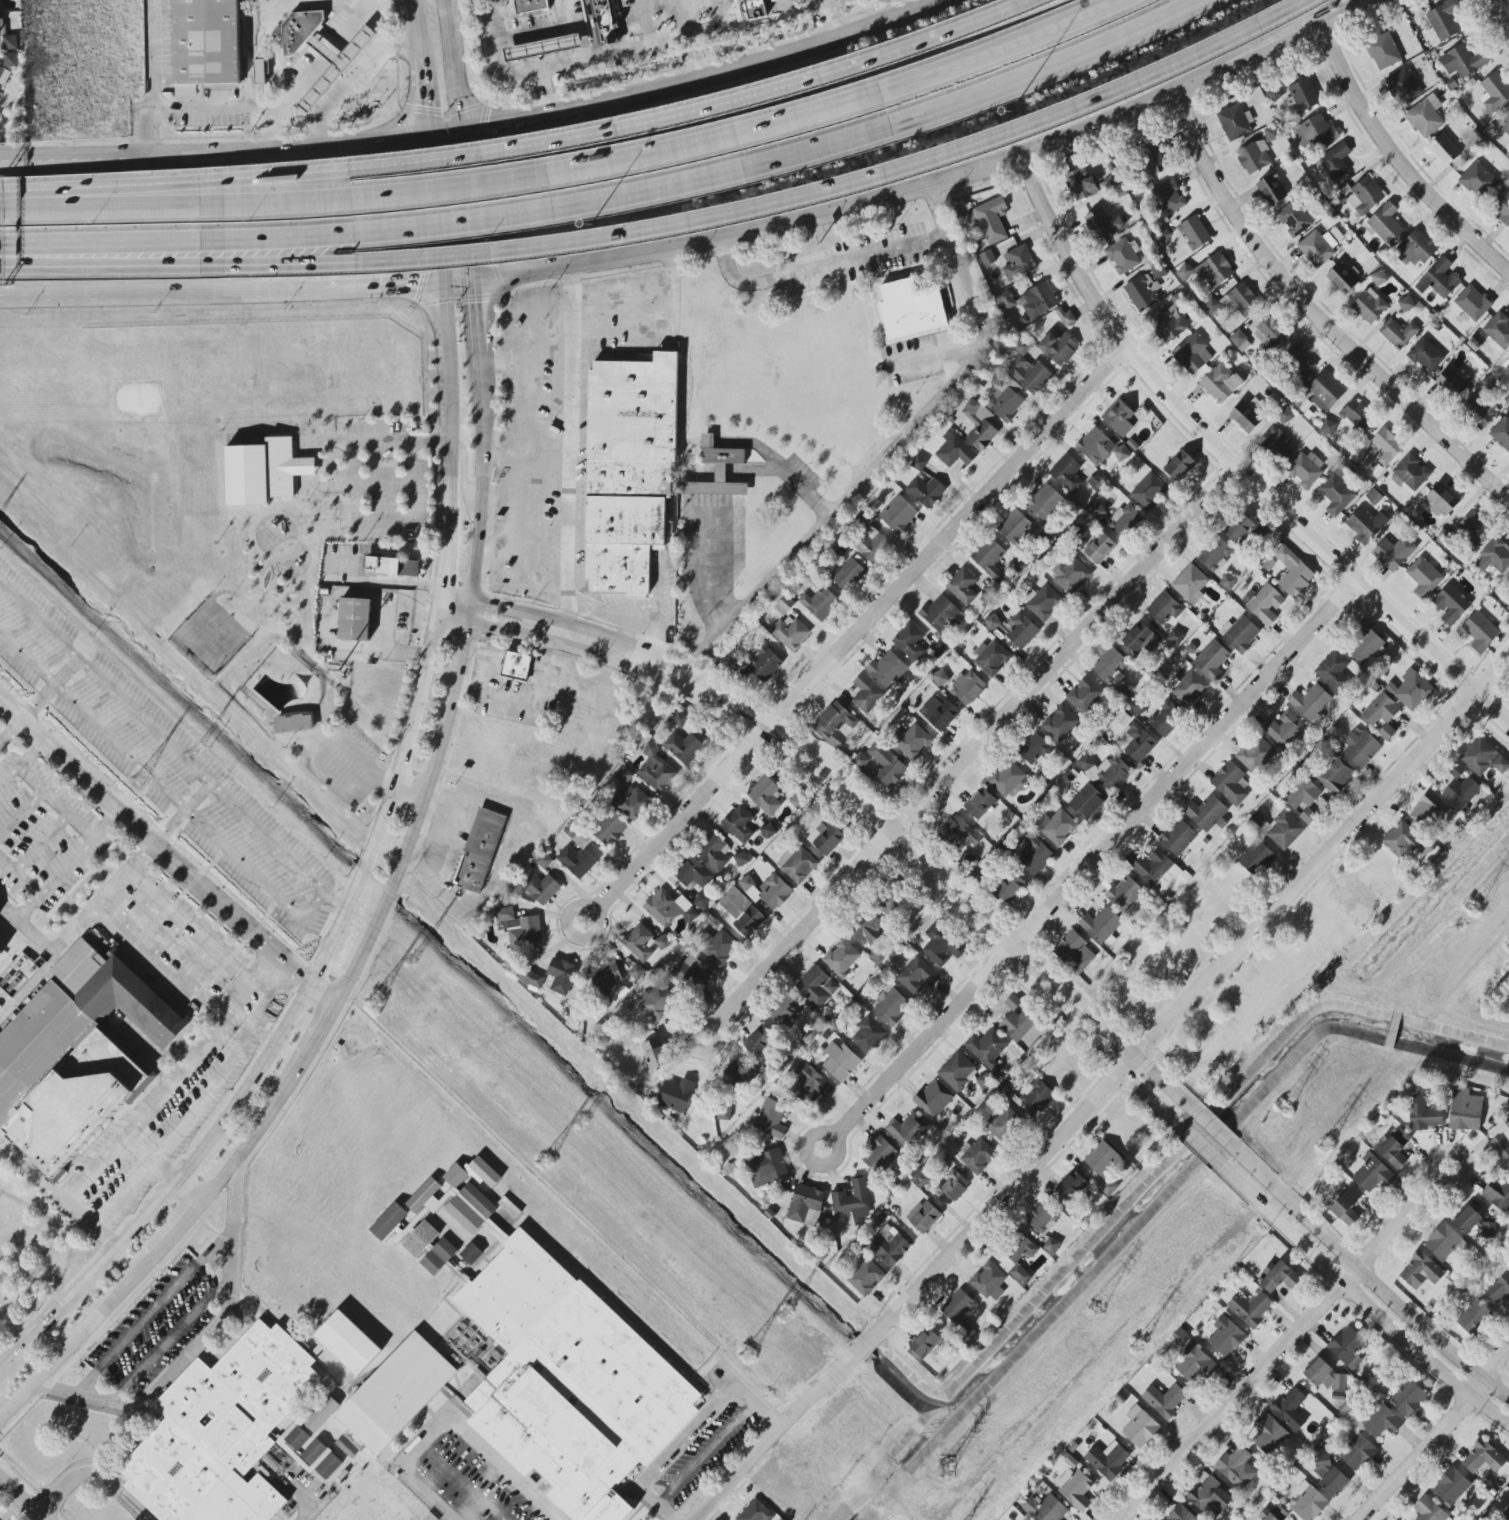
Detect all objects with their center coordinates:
parking lot: (780, 0)
road: (953, 0)
building: (533, 6)
building: (755, 8)
road: (1009, 9)
road: (1502, 11)
road: (802, 13)
road: (685, 17)
building: (1443, 20)
building: (609, 21)
road: (836, 21)
road: (591, 26)
parking lot: (682, 27)
road: (720, 27)
road: (543, 28)
road: (753, 29)
road: (416, 34)
building: (6, 37)
road: (651, 39)
road: (274, 42)
building: (206, 45)
road: (1250, 45)
road: (1008, 47)
building: (539, 51)
building: (1383, 51)
building: (325, 53)
road: (696, 59)
building: (10, 60)
building: (1462, 61)
road: (540, 63)
road: (773, 63)
road: (1176, 66)
road: (453, 69)
road: (1056, 69)
building: (263, 75)
road: (154, 78)
building: (1404, 86)
road: (360, 89)
road: (544, 91)
building: (1494, 92)
building: (1303, 96)
road: (422, 106)
road: (233, 107)
traffic signals: (423, 107)
road: (554, 117)
building: (1425, 117)
building: (1235, 122)
building: (1505, 125)
road: (494, 131)
building: (1314, 132)
traffic signals: (484, 134)
road: (599, 137)
road: (445, 141)
building: (1444, 150)
road: (213, 155)
traffic signals: (467, 157)
building: (1253, 157)
road: (1407, 159)
building: (1152, 160)
building: (1335, 161)
road: (544, 175)
road: (945, 179)
building: (1477, 179)
building: (1080, 184)
building: (1271, 190)
building: (1362, 195)
road: (133, 197)
building: (1168, 197)
road: (134, 205)
building: (1501, 206)
road: (34, 207)
road: (502, 208)
road: (472, 209)
road: (550, 209)
road: (434, 213)
road: (404, 217)
building: (990, 219)
building: (1293, 219)
building: (1102, 223)
building: (1385, 223)
building: (1194, 233)
road: (624, 234)
building: (1162, 236)
road: (100, 244)
building: (1319, 246)
building: (1415, 249)
building: (1122, 256)
building: (987, 258)
traffic signals: (441, 261)
building: (1018, 263)
road: (959, 266)
road: (820, 267)
road: (99, 269)
building: (1209, 271)
building: (1378, 278)
building: (1439, 279)
road: (461, 281)
road: (404, 283)
traffic signals: (414, 283)
road: (338, 285)
road: (155, 289)
building: (1142, 292)
building: (1029, 301)
building: (1234, 301)
traffic signals: (480, 303)
building: (1406, 303)
building: (1472, 303)
building: (1369, 306)
building: (910, 309)
road: (1324, 312)
road: (481, 325)
building: (1168, 325)
building: (1498, 330)
building: (1270, 334)
building: (1399, 334)
building: (1238, 338)
building: (1058, 348)
building: (1192, 354)
building: (1508, 355)
building: (1425, 356)
road: (948, 359)
building: (1298, 361)
building: (1507, 367)
building: (1028, 370)
building: (1220, 383)
building: (1451, 383)
building: (1325, 392)
building: (1005, 400)
road: (451, 407)
road: (577, 408)
building: (1478, 411)
building: (1247, 414)
building: (1357, 415)
building: (1118, 418)
building: (979, 425)
building: (1328, 428)
building: (1501, 433)
road: (374, 442)
building: (1275, 444)
building: (1386, 446)
building: (1100, 447)
building: (953, 451)
building: (918, 463)
building: (1179, 465)
road: (465, 467)
road: (1235, 468)
building: (1304, 468)
building: (628, 469)
building: (717, 470)
building: (263, 471)
road: (723, 472)
building: (1411, 472)
building: (1066, 473)
road: (795, 481)
road: (501, 486)
building: (925, 491)
building: (1148, 491)
building: (1336, 495)
road: (381, 498)
building: (1441, 500)
building: (1045, 502)
building: (1097, 510)
building: (898, 515)
road: (833, 518)
building: (1124, 521)
building: (1365, 524)
building: (1473, 526)
building: (1014, 527)
building: (1240, 529)
building: (872, 546)
building: (1099, 548)
road: (727, 550)
building: (1214, 553)
building: (1393, 553)
road: (691, 556)
building: (1494, 556)
building: (989, 559)
road: (440, 561)
building: (393, 567)
building: (1293, 572)
building: (849, 575)
building: (1069, 575)
building: (1424, 577)
building: (1227, 581)
building: (1190, 583)
building: (962, 586)
road: (402, 587)
road: (453, 595)
road: (435, 601)
building: (1044, 603)
building: (820, 604)
building: (1450, 604)
building: (1265, 605)
building: (784, 606)
building: (1164, 608)
building: (939, 613)
building: (354, 619)
building: (992, 622)
building: (1020, 631)
building: (1480, 632)
building: (790, 634)
building: (1239, 634)
road: (854, 636)
building: (1175, 637)
building: (1140, 639)
building: (909, 641)
building: (1366, 644)
road: (515, 649)
building: (990, 658)
building: (1211, 660)
building: (764, 663)
building: (515, 666)
building: (1110, 666)
building: (887, 669)
road: (539, 672)
building: (1333, 672)
road: (483, 673)
building: (940, 678)
building: (967, 688)
building: (1188, 688)
road: (51, 690)
building: (1410, 690)
building: (866, 693)
building: (1085, 694)
road: (447, 697)
road: (506, 699)
building: (1311, 703)
building: (1136, 708)
road: (10, 709)
building: (1382, 714)
building: (942, 715)
building: (1166, 718)
building: (679, 720)
building: (294, 722)
building: (1060, 723)
building: (835, 724)
road: (90, 725)
building: (1283, 729)
road: (335, 742)
building: (913, 742)
building: (1138, 742)
road: (173, 748)
building: (683, 748)
building: (1034, 748)
building: (1360, 748)
road: (968, 751)
building: (1255, 754)
power tower: (198, 755)
building: (1483, 758)
building: (861, 760)
road: (21, 762)
building: (887, 765)
building: (655, 770)
building: (1107, 771)
building: (1457, 772)
power tower: (139, 775)
building: (623, 776)
building: (1334, 776)
building: (1007, 779)
building: (1231, 784)
building: (1461, 793)
building: (765, 795)
road: (196, 799)
road: (56, 801)
road: (863, 802)
building: (1086, 802)
building: (1305, 802)
building: (633, 803)
building: (979, 803)
road: (840, 810)
building: (1428, 810)
building: (1206, 813)
road: (22, 814)
building: (738, 824)
building: (1057, 827)
road: (427, 828)
building: (610, 829)
building: (1283, 830)
building: (768, 831)
building: (958, 832)
road: (440, 833)
building: (1177, 837)
building: (828, 838)
building: (1401, 840)
road: (42, 844)
building: (479, 851)
road: (166, 852)
building: (714, 852)
building: (1033, 855)
building: (1256, 858)
building: (579, 859)
road: (69, 864)
building: (797, 864)
road: (1090, 865)
road: (235, 867)
building: (1158, 871)
building: (693, 873)
road: (19, 880)
building: (746, 883)
building: (1009, 887)
building: (540, 888)
building: (774, 891)
building: (1124, 894)
building: (1346, 894)
building: (701, 900)
building: (888, 902)
building: (1372, 903)
power tower: (1474, 908)
building: (666, 909)
building: (742, 912)
road: (136, 914)
road: (79, 925)
building: (1101, 925)
building: (519, 928)
building: (867, 928)
road: (189, 929)
road: (164, 940)
power tower: (1508, 941)
building: (662, 942)
building: (639, 943)
building: (941, 945)
building: (719, 948)
building: (0, 952)
building: (1074, 953)
building: (840, 957)
power tower: (419, 958)
road: (268, 962)
road: (152, 963)
building: (636, 972)
building: (688, 973)
building: (916, 975)
building: (561, 976)
building: (605, 977)
road: (268, 978)
building: (530, 978)
road: (255, 979)
building: (816, 987)
power tower: (377, 995)
road: (203, 997)
building: (656, 1001)
building: (1012, 1002)
building: (891, 1007)
building: (785, 1010)
building: (1017, 1025)
road: (282, 1026)
building: (868, 1035)
road: (315, 1037)
building: (759, 1041)
building: (987, 1048)
building: (654, 1054)
building: (78, 1055)
building: (841, 1062)
building: (957, 1072)
building: (738, 1073)
road: (220, 1075)
building: (810, 1083)
road: (1105, 1093)
building: (676, 1095)
road: (160, 1097)
building: (933, 1098)
building: (1036, 1098)
power tower: (1289, 1110)
building: (1465, 1110)
building: (1423, 1114)
building: (769, 1119)
power tower: (586, 1120)
building: (1003, 1124)
road: (1211, 1126)
building: (907, 1130)
road: (251, 1139)
building: (1500, 1143)
road: (1194, 1144)
power tower: (1318, 1144)
road: (143, 1148)
building: (1393, 1148)
building: (879, 1155)
building: (978, 1156)
power tower: (545, 1160)
building: (1104, 1166)
building: (767, 1167)
road: (165, 1170)
building: (483, 1172)
building: (1371, 1174)
road: (1262, 1175)
building: (455, 1176)
building: (920, 1178)
building: (952, 1185)
building: (1071, 1186)
road: (187, 1192)
road: (1245, 1192)
road: (124, 1194)
building: (1498, 1195)
road: (57, 1196)
building: (853, 1201)
building: (1346, 1205)
building: (806, 1206)
building: (459, 1207)
building: (923, 1216)
building: (1042, 1217)
building: (1467, 1220)
building: (388, 1221)
building: (1487, 1230)
road: (174, 1232)
building: (420, 1239)
building: (1442, 1242)
building: (1051, 1245)
building: (889, 1246)
building: (1021, 1249)
building: (471, 1254)
building: (439, 1256)
building: (1420, 1271)
building: (1019, 1274)
building: (1279, 1277)
building: (865, 1278)
building: (989, 1282)
building: (1499, 1289)
road: (1398, 1305)
building: (1250, 1309)
power tower: (1100, 1310)
road: (152, 1312)
building: (959, 1313)
power tower: (785, 1315)
building: (1473, 1316)
road: (1389, 1327)
building: (1226, 1337)
road: (74, 1341)
building: (349, 1342)
road: (200, 1343)
building: (928, 1344)
road: (1289, 1345)
building: (1347, 1347)
power tower: (749, 1354)
road: (151, 1361)
building: (1194, 1366)
road: (1, 1371)
building: (568, 1380)
building: (397, 1393)
building: (1408, 1398)
building: (1164, 1400)
building: (1289, 1409)
building: (320, 1414)
building: (1381, 1421)
road: (453, 1423)
building: (1139, 1427)
building: (222, 1431)
road: (691, 1431)
building: (1268, 1434)
road: (1435, 1437)
building: (1357, 1452)
road: (707, 1454)
building: (1482, 1458)
building: (1107, 1460)
building: (1237, 1467)
power tower: (950, 1468)
road: (93, 1473)
building: (1329, 1476)
road: (463, 1480)
building: (1451, 1486)
building: (1075, 1488)
building: (785, 1495)
building: (1209, 1497)
road: (21, 1499)
road: (305, 1499)
building: (1307, 1502)
building: (1045, 1509)
road: (496, 1510)
building: (1429, 1510)
building: (755, 1512)
building: (1180, 1514)
building: (1274, 1514)
building: (1506, 1514)
park: (883, 1517)

